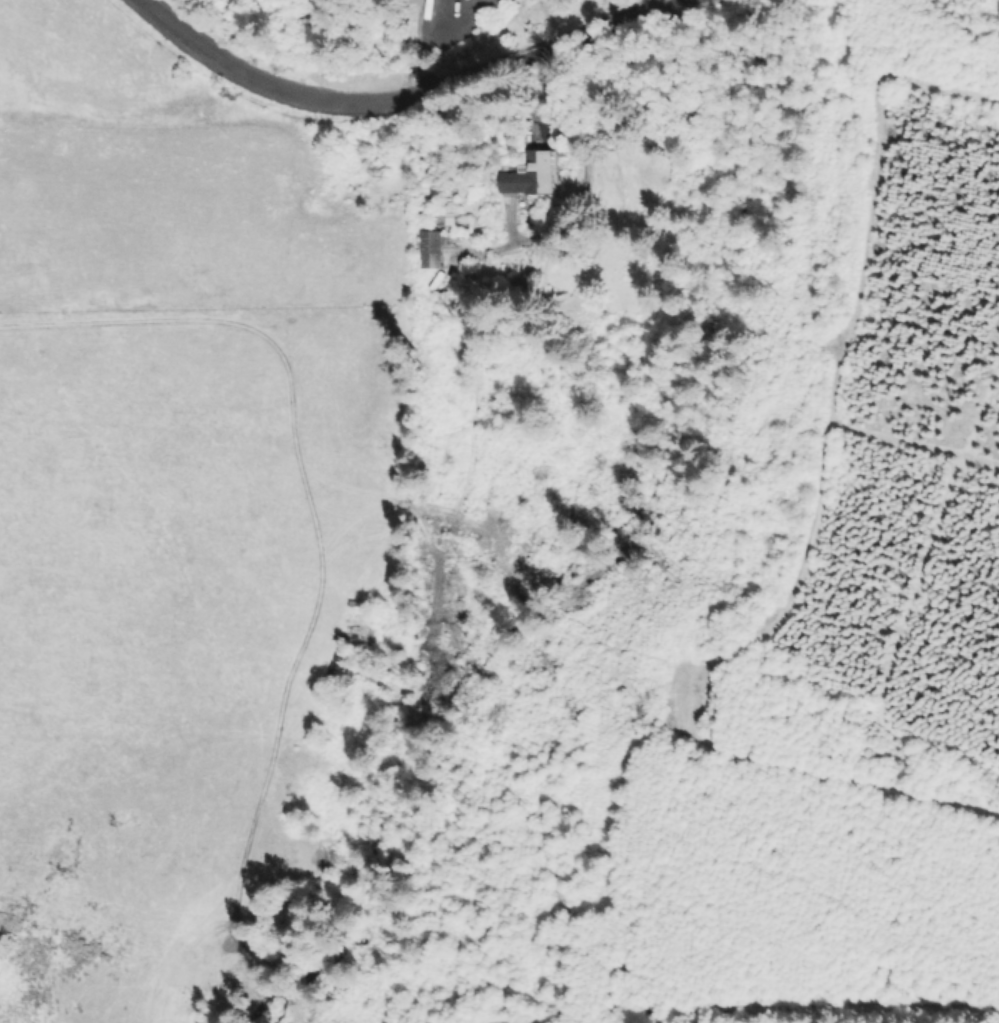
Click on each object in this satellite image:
road: (401, 92)
building: (537, 178)
building: (431, 243)

